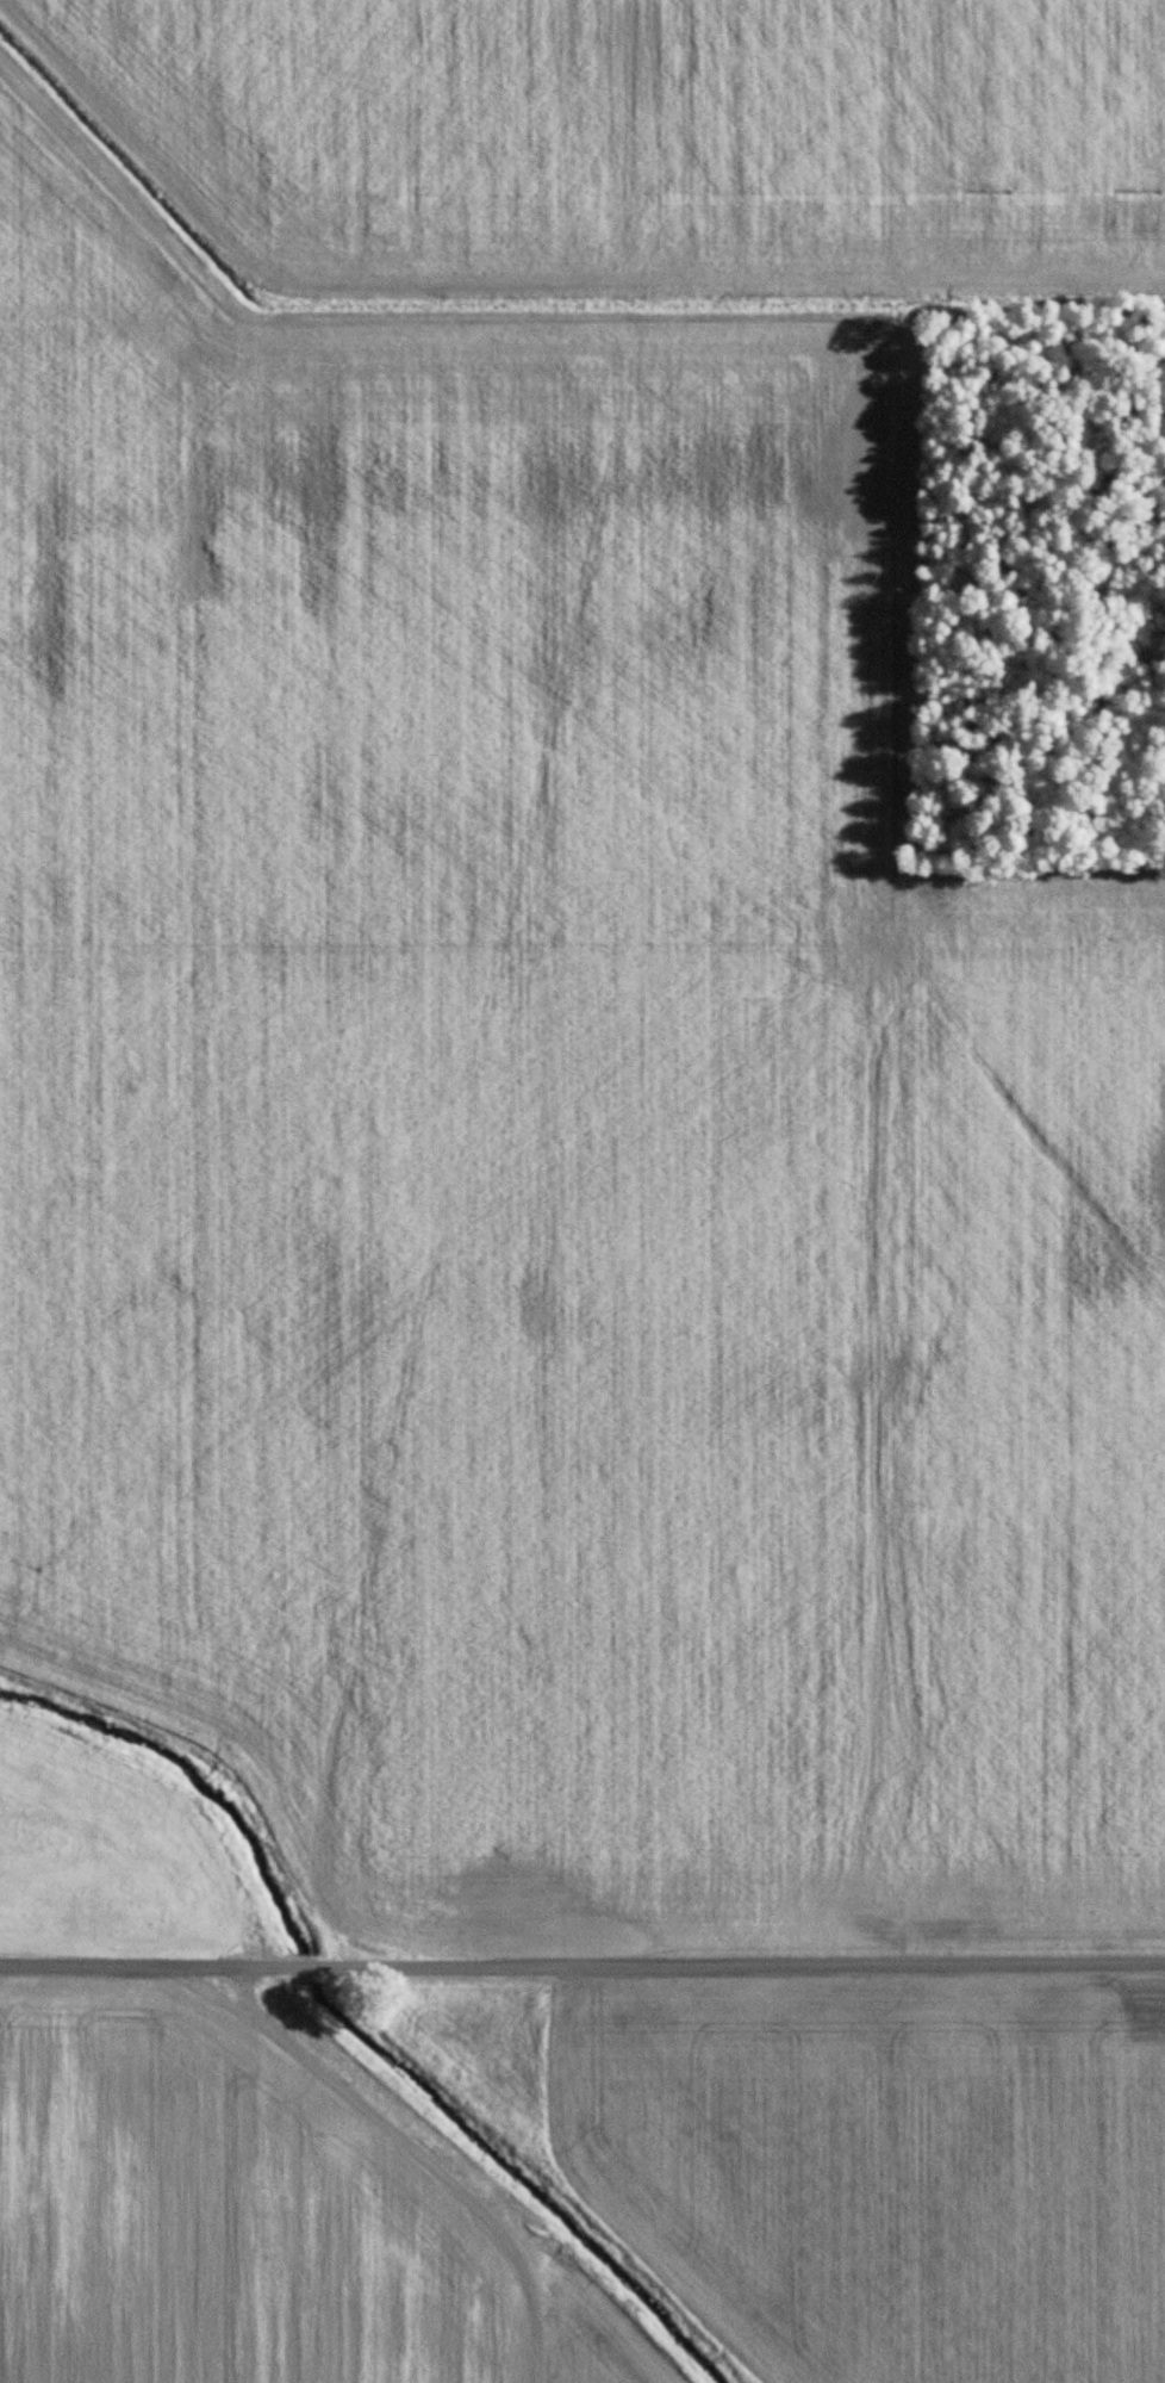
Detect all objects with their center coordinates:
road: (307, 1966)
road: (137, 1967)
road: (752, 1968)
road: (411, 2160)

